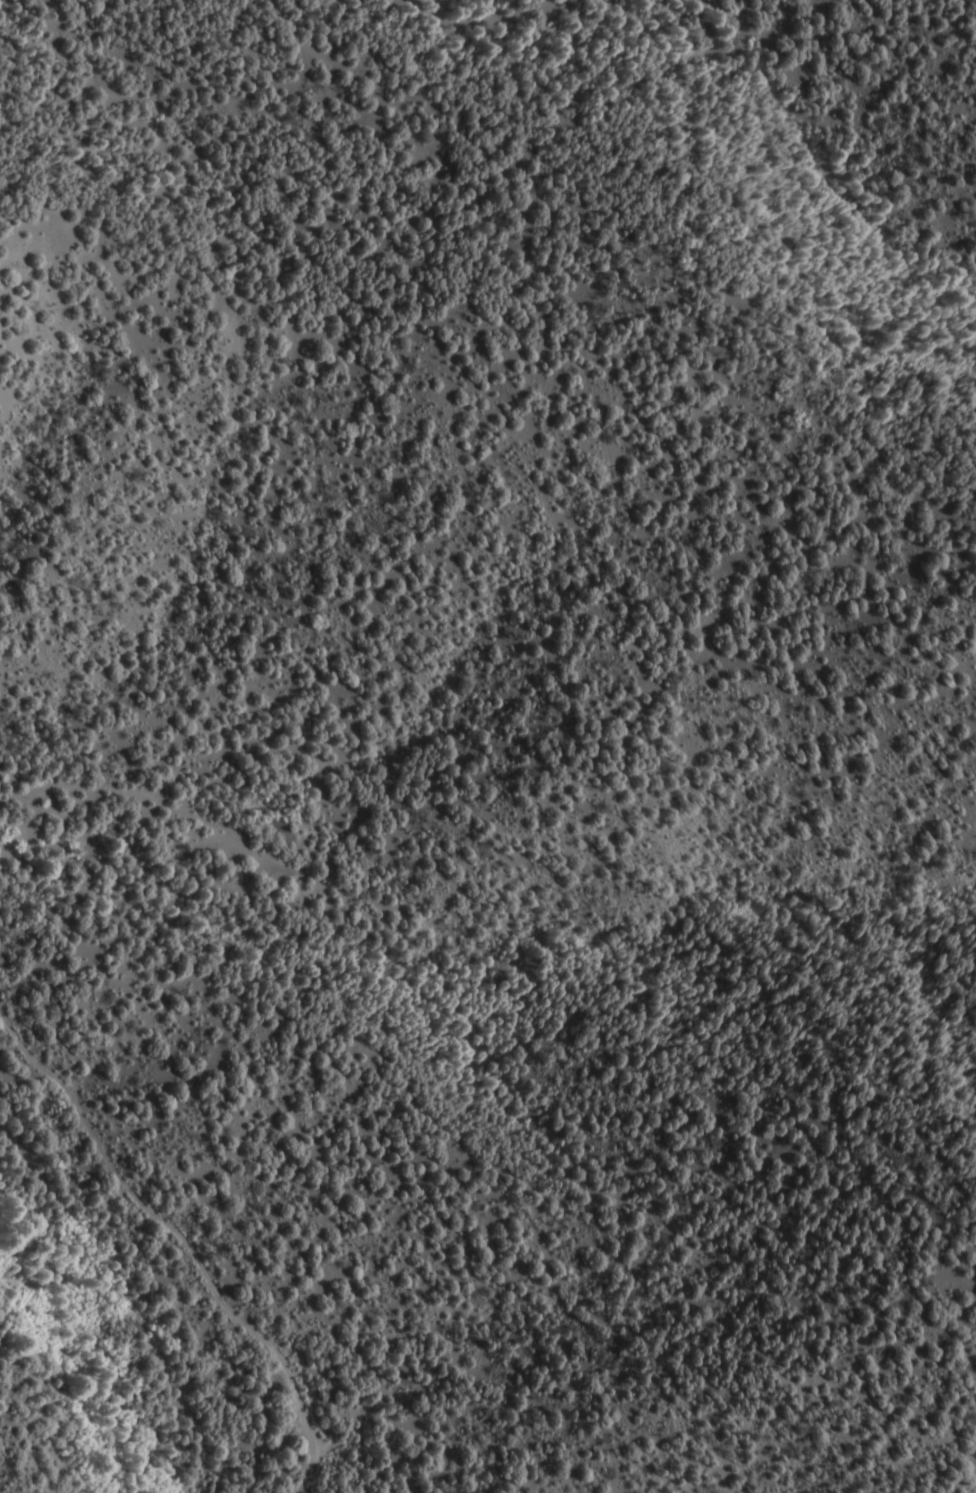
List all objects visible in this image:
road: (172, 1246)

